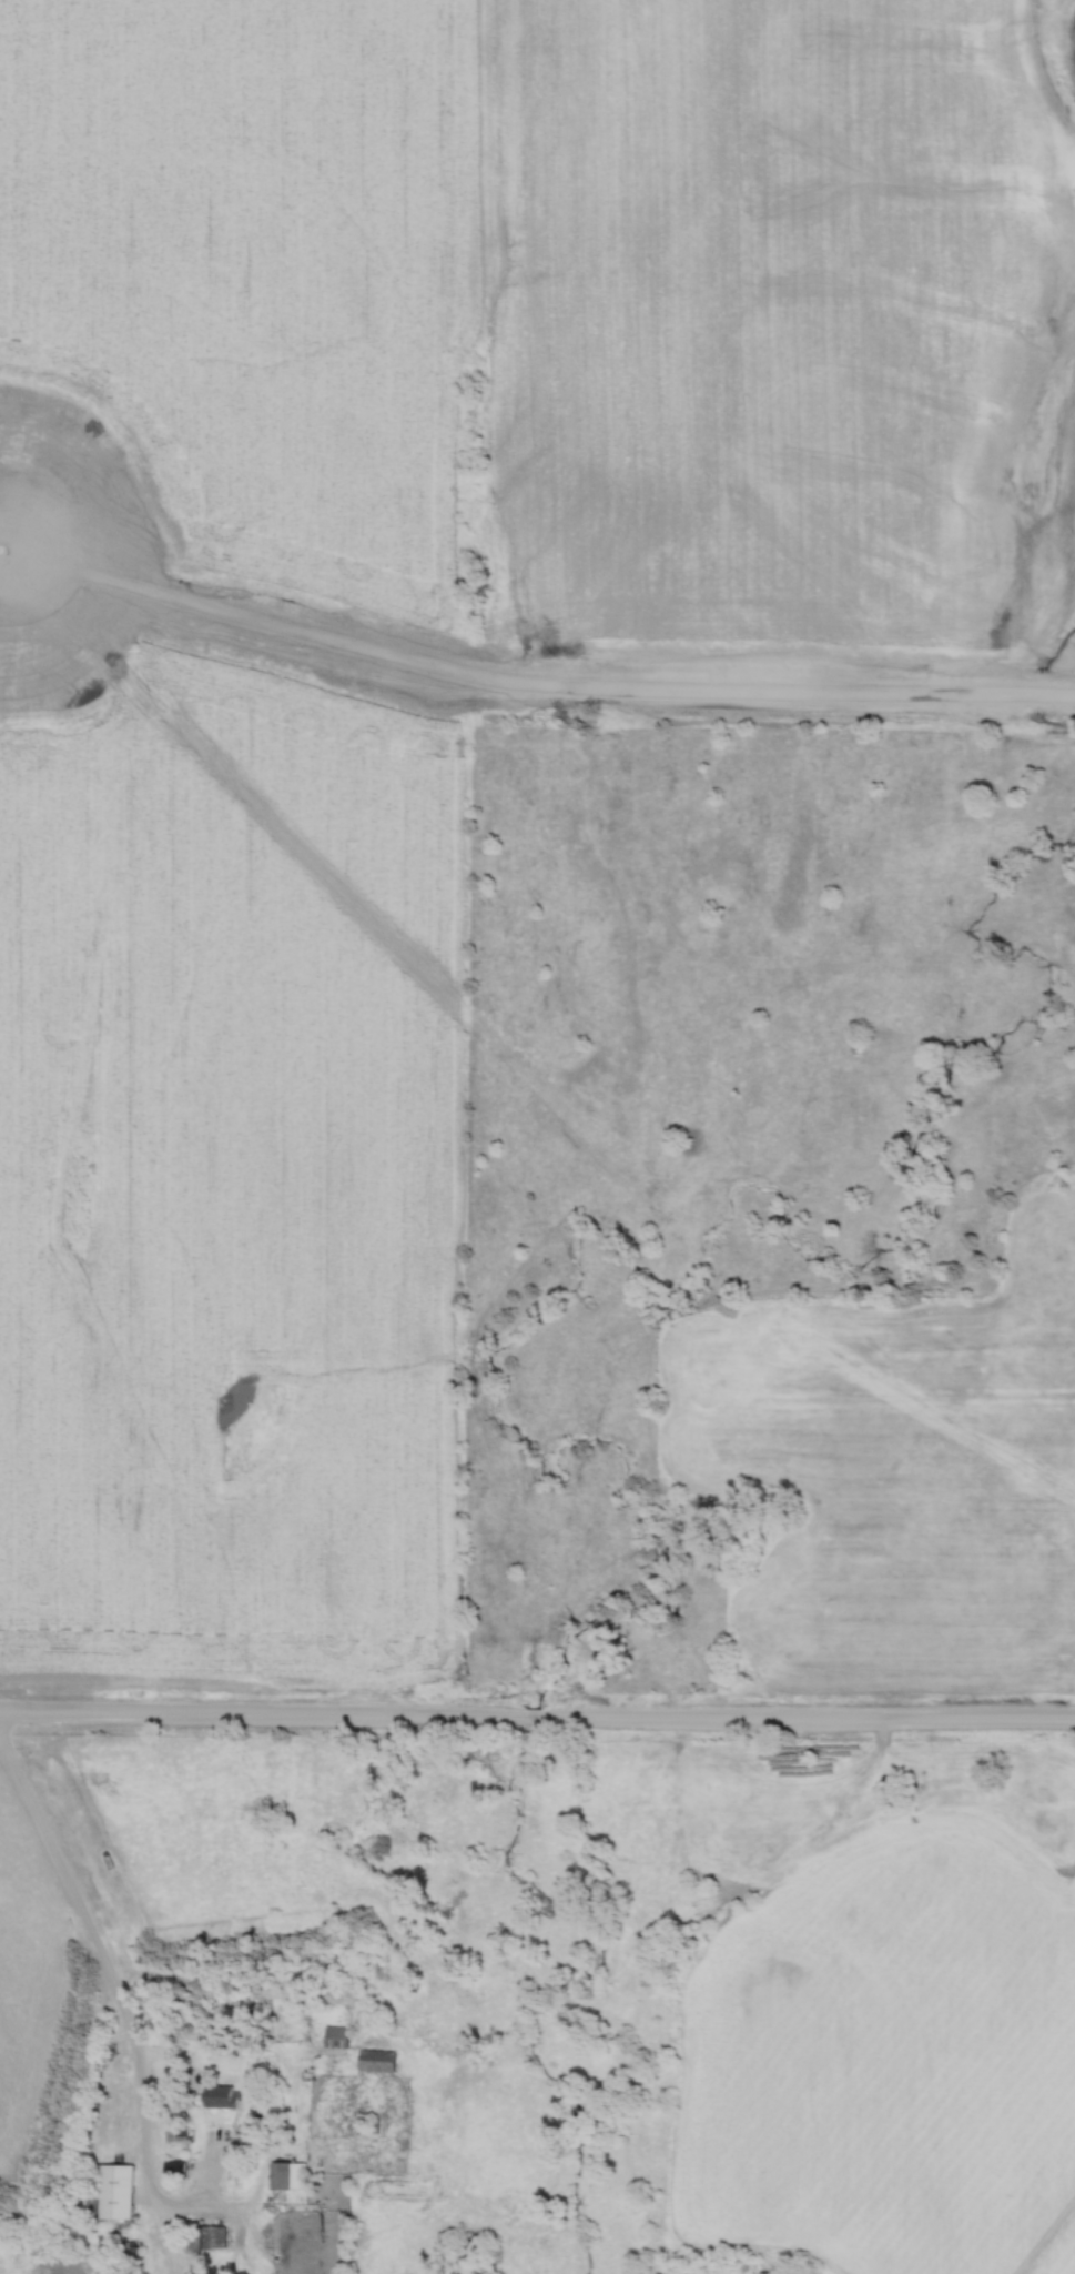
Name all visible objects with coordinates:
road: (537, 1717)
road: (118, 2002)
building: (338, 2035)
building: (377, 2060)
building: (221, 2095)
building: (171, 2167)
building: (288, 2175)
building: (108, 2194)
building: (206, 2237)

